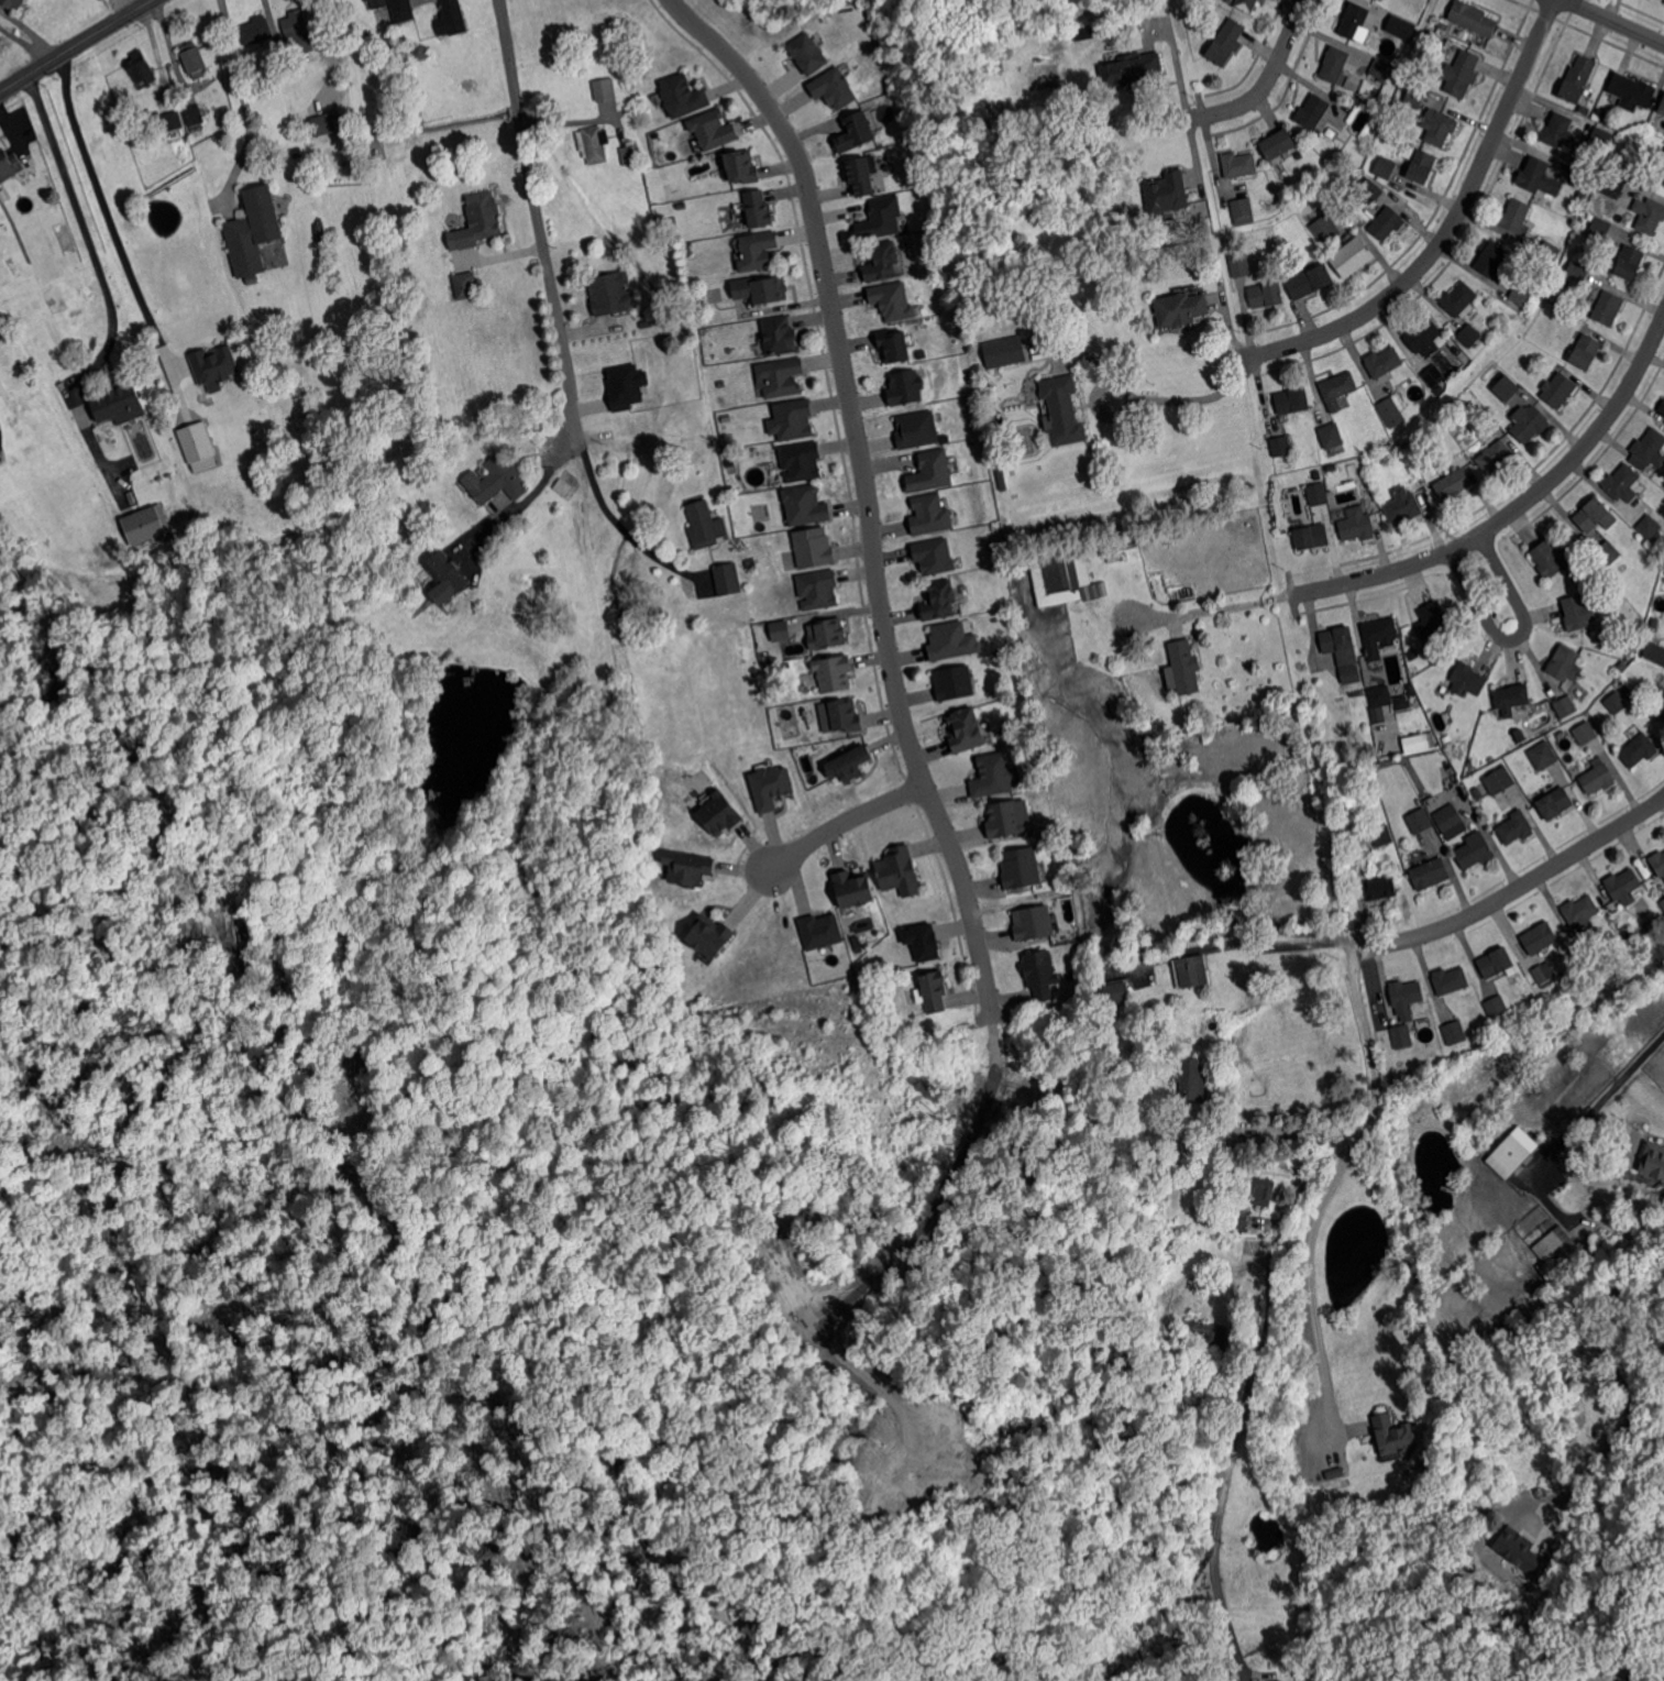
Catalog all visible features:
building: (362, 0)
building: (12, 3)
building: (376, 3)
building: (1245, 4)
road: (1582, 6)
building: (400, 10)
building: (1473, 18)
building: (451, 19)
building: (1354, 23)
building: (1444, 24)
road: (1629, 26)
building: (1399, 28)
road: (30, 30)
building: (255, 31)
building: (297, 34)
road: (327, 37)
building: (1225, 43)
road: (74, 44)
building: (808, 53)
road: (157, 56)
building: (194, 61)
building: (1333, 65)
building: (140, 68)
building: (1129, 69)
building: (1381, 69)
building: (1461, 73)
road: (1269, 78)
building: (1578, 79)
building: (834, 88)
building: (603, 90)
building: (1632, 91)
building: (684, 96)
building: (1415, 96)
road: (244, 102)
building: (1662, 108)
building: (1583, 111)
building: (1312, 112)
building: (1600, 112)
building: (192, 118)
building: (172, 121)
building: (324, 123)
building: (1439, 127)
building: (714, 130)
building: (856, 132)
building: (1560, 132)
building: (180, 135)
building: (1601, 140)
building: (1277, 144)
building: (593, 145)
building: (298, 153)
building: (1299, 154)
building: (631, 155)
building: (1335, 160)
building: (1617, 163)
building: (1239, 164)
building: (7, 165)
building: (745, 166)
building: (1422, 166)
building: (1385, 167)
building: (640, 175)
building: (1535, 175)
building: (1661, 175)
building: (862, 176)
building: (1582, 180)
building: (1615, 184)
building: (1166, 193)
building: (1368, 193)
building: (1580, 196)
building: (758, 208)
building: (1243, 209)
building: (1516, 215)
building: (1649, 215)
building: (881, 218)
building: (477, 221)
building: (1363, 222)
building: (1386, 223)
road: (1453, 224)
building: (1599, 227)
road: (541, 229)
building: (1326, 229)
road: (84, 232)
building: (253, 232)
road: (117, 240)
building: (759, 251)
building: (1549, 253)
building: (1351, 257)
building: (1494, 259)
building: (883, 261)
building: (1630, 262)
building: (1238, 264)
building: (1577, 272)
building: (253, 281)
building: (1308, 281)
building: (466, 286)
building: (762, 289)
building: (613, 294)
building: (1267, 295)
building: (1519, 297)
building: (1461, 300)
building: (894, 301)
building: (1609, 307)
building: (1179, 309)
building: (1051, 323)
building: (646, 325)
building: (1472, 334)
building: (780, 336)
building: (1426, 337)
building: (895, 345)
building: (1456, 351)
building: (1586, 351)
building: (1005, 352)
building: (1382, 362)
building: (213, 365)
road: (179, 367)
building: (1514, 369)
building: (782, 376)
building: (1433, 376)
building: (624, 385)
building: (906, 387)
building: (1505, 387)
building: (1338, 389)
building: (1557, 391)
road: (1192, 398)
building: (1292, 402)
building: (119, 403)
building: (1662, 408)
building: (1391, 410)
building: (1061, 411)
building: (790, 418)
building: (1491, 422)
building: (1528, 422)
building: (918, 430)
building: (1331, 436)
building: (197, 446)
building: (1280, 446)
building: (1651, 447)
building: (1495, 455)
building: (803, 461)
building: (1326, 465)
building: (1441, 468)
building: (933, 472)
building: (571, 477)
building: (1002, 477)
building: (496, 480)
building: (1622, 483)
building: (1453, 484)
building: (563, 486)
road: (866, 487)
building: (1318, 493)
building: (806, 505)
building: (1403, 505)
road: (1517, 508)
building: (932, 515)
building: (1595, 515)
road: (611, 517)
building: (145, 523)
building: (706, 525)
building: (1357, 525)
building: (1650, 527)
building: (1311, 537)
building: (815, 548)
building: (1621, 550)
building: (1608, 553)
building: (932, 554)
building: (1654, 554)
building: (1550, 557)
building: (751, 563)
building: (448, 572)
building: (729, 580)
building: (1056, 581)
road: (1488, 583)
building: (819, 590)
building: (941, 600)
road: (1206, 608)
building: (1578, 613)
building: (1434, 622)
building: (781, 631)
building: (1652, 631)
building: (827, 634)
building: (1377, 636)
building: (950, 639)
building: (1629, 642)
building: (1338, 645)
building: (1653, 651)
building: (1565, 663)
building: (1623, 666)
building: (1184, 667)
building: (837, 673)
building: (1349, 674)
building: (1468, 679)
building: (956, 682)
building: (1626, 690)
building: (1616, 693)
building: (1659, 693)
building: (1379, 696)
building: (1511, 697)
building: (1401, 702)
building: (1564, 705)
building: (825, 710)
building: (1661, 713)
building: (849, 715)
building: (969, 730)
building: (1585, 733)
building: (1520, 736)
building: (1555, 743)
building: (1639, 749)
building: (1542, 755)
building: (850, 763)
building: (994, 776)
building: (1597, 777)
building: (1498, 780)
building: (772, 787)
building: (1555, 803)
building: (721, 812)
building: (1006, 820)
building: (1451, 821)
building: (1418, 822)
building: (1516, 827)
road: (840, 829)
building: (1382, 836)
road: (1496, 838)
building: (1476, 849)
building: (1659, 861)
building: (690, 867)
building: (1022, 868)
building: (1396, 868)
building: (902, 871)
building: (1430, 874)
building: (1624, 886)
building: (858, 888)
building: (1378, 889)
road: (1518, 889)
building: (1662, 904)
building: (1582, 912)
building: (1035, 923)
building: (1648, 927)
building: (819, 930)
building: (713, 936)
building: (1541, 937)
building: (921, 941)
road: (1278, 943)
building: (859, 949)
building: (1498, 963)
building: (1192, 970)
building: (1043, 974)
building: (1543, 975)
building: (1451, 980)
building: (937, 991)
building: (1113, 993)
building: (1406, 997)
building: (1497, 1006)
building: (1177, 1024)
building: (1454, 1031)
building: (1401, 1036)
building: (1176, 1044)
building: (1190, 1080)
road: (1599, 1096)
road: (1298, 1128)
building: (1217, 1136)
building: (1506, 1156)
building: (1155, 1157)
building: (1653, 1161)
building: (1663, 1183)
building: (1264, 1193)
building: (1208, 1200)
building: (1236, 1221)
road: (1275, 1245)
building: (1561, 1259)
road: (1316, 1278)
building: (1204, 1334)
road: (1617, 1376)
building: (1392, 1435)
building: (1541, 1495)
building: (1518, 1524)
building: (1517, 1548)
building: (1530, 1571)
road: (1228, 1624)

